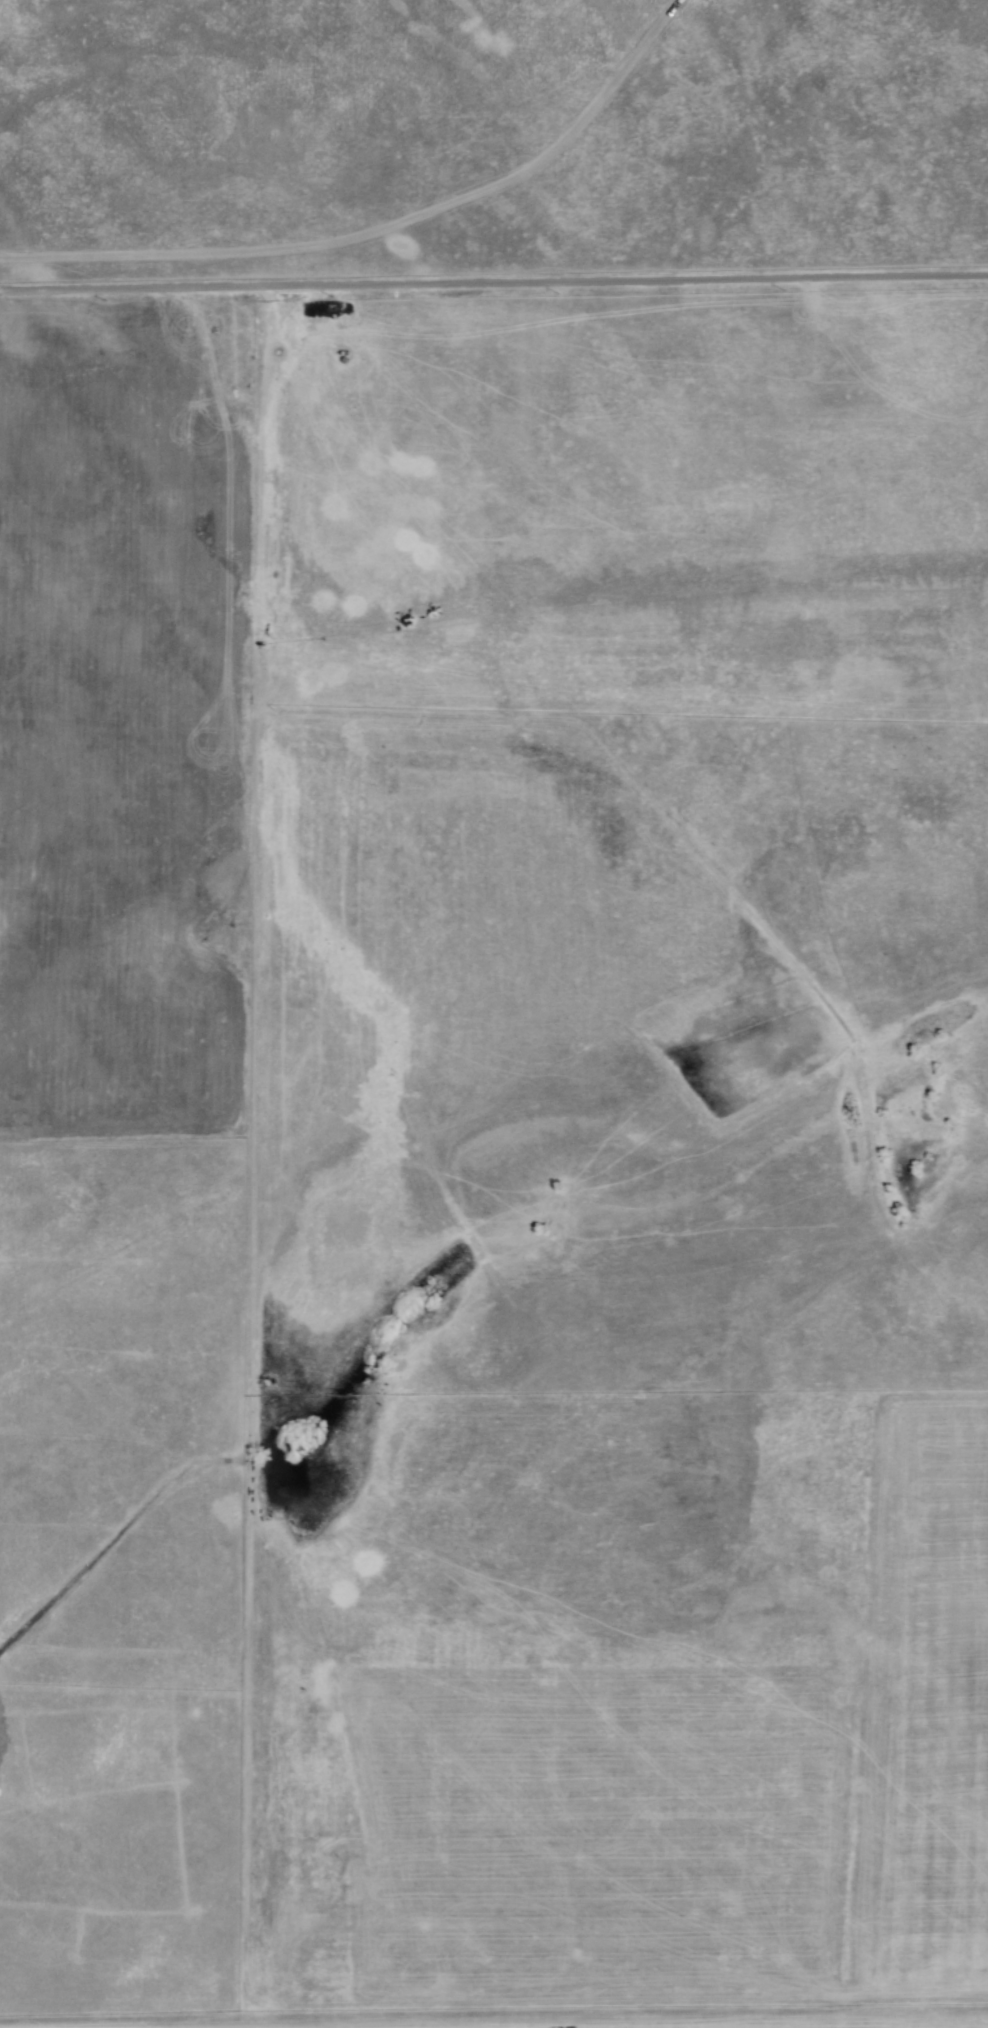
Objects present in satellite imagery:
road: (385, 226)
road: (493, 280)

